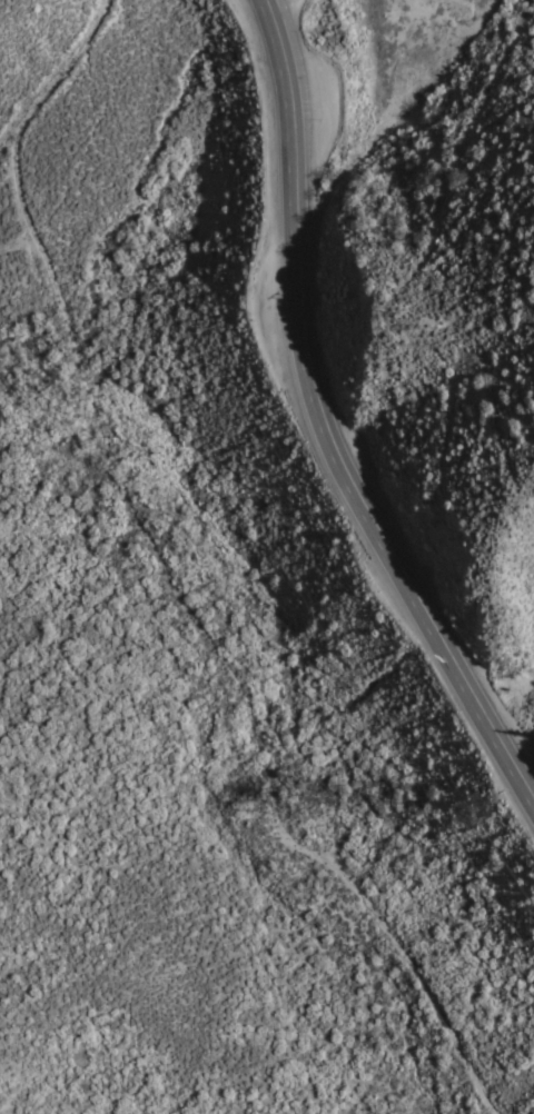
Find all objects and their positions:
road: (322, 427)
power tower: (479, 808)
power tower: (315, 810)

